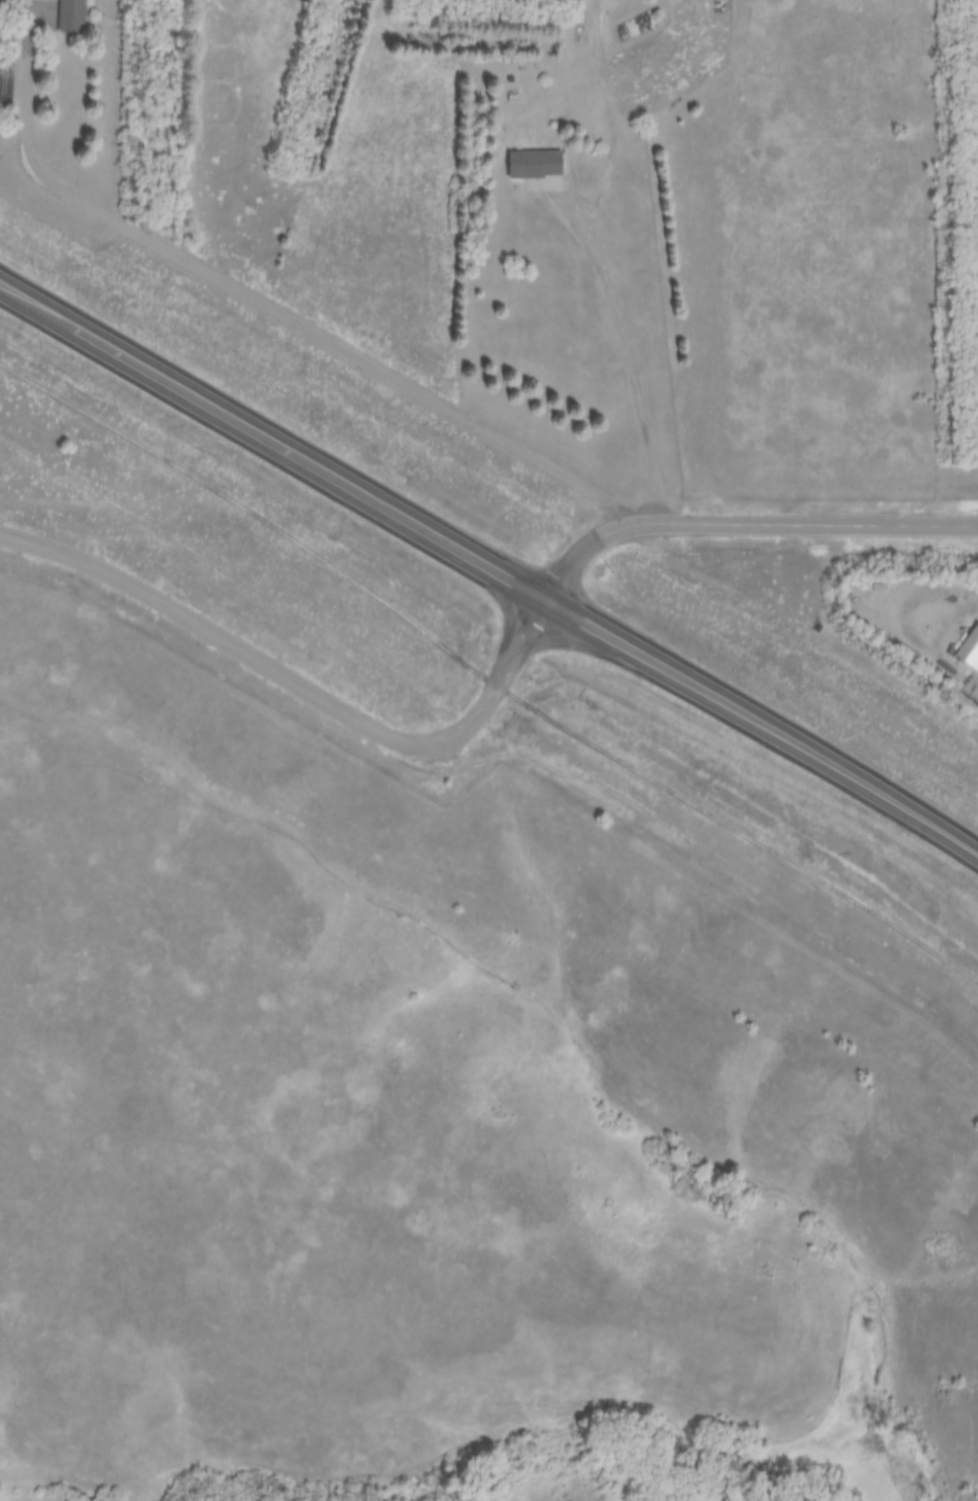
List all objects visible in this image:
building: (71, 16)
road: (32, 20)
building: (535, 167)
road: (602, 260)
road: (282, 309)
road: (749, 522)
road: (491, 560)
building: (969, 650)
road: (301, 683)

